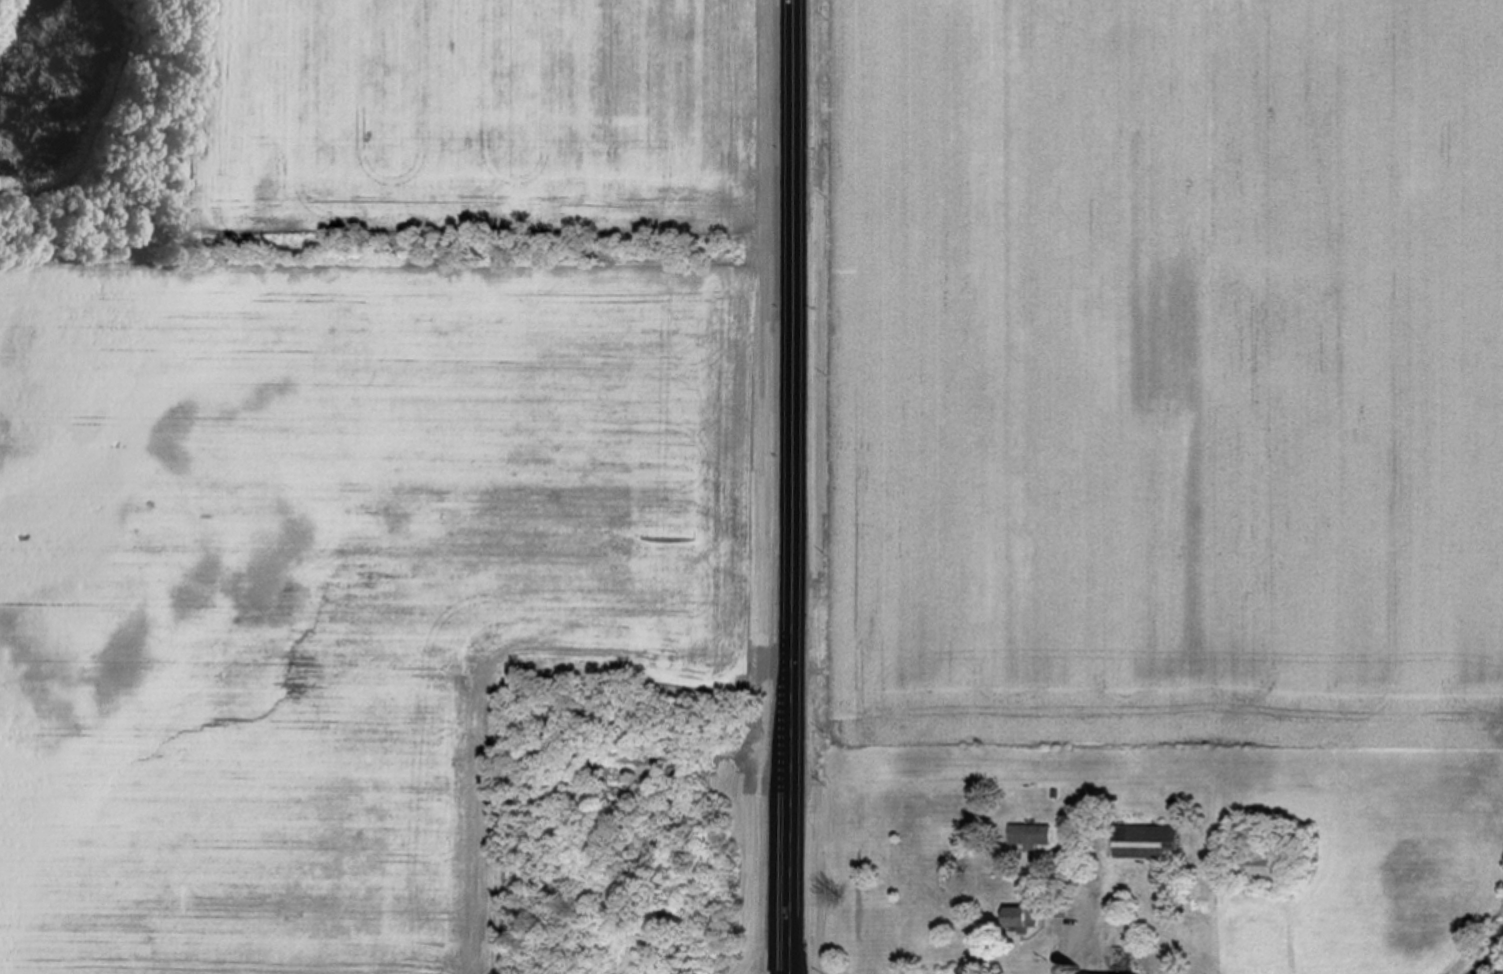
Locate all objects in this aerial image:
road: (798, 487)
building: (1031, 835)
building: (1147, 842)
building: (1261, 868)
building: (1021, 918)
road: (1087, 925)
road: (1496, 965)

